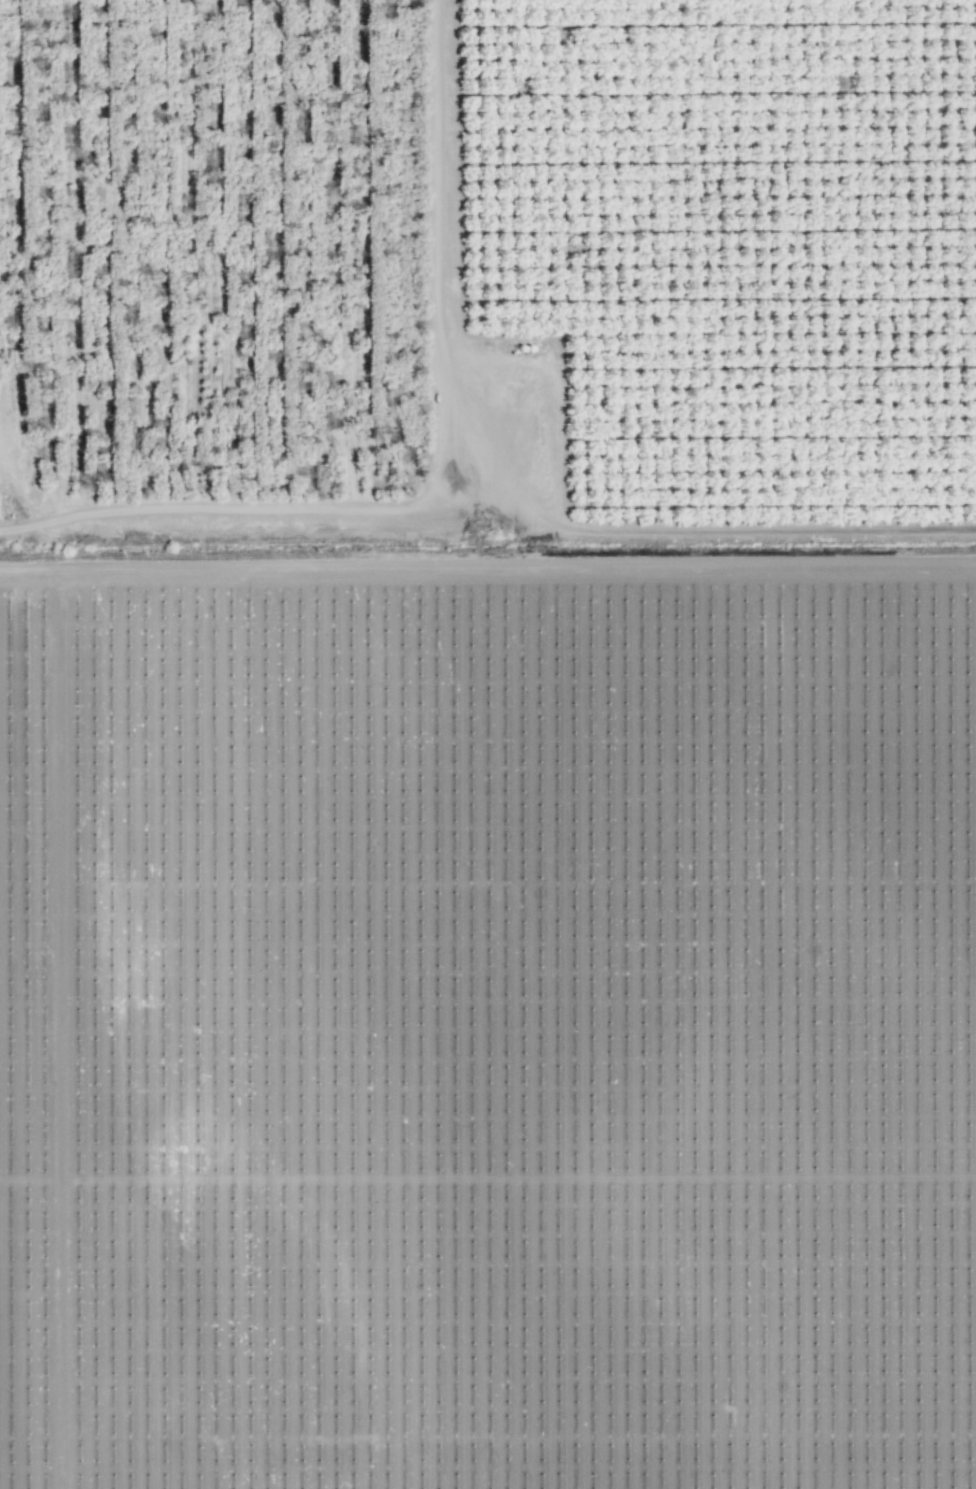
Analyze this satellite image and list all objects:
road: (590, 540)

